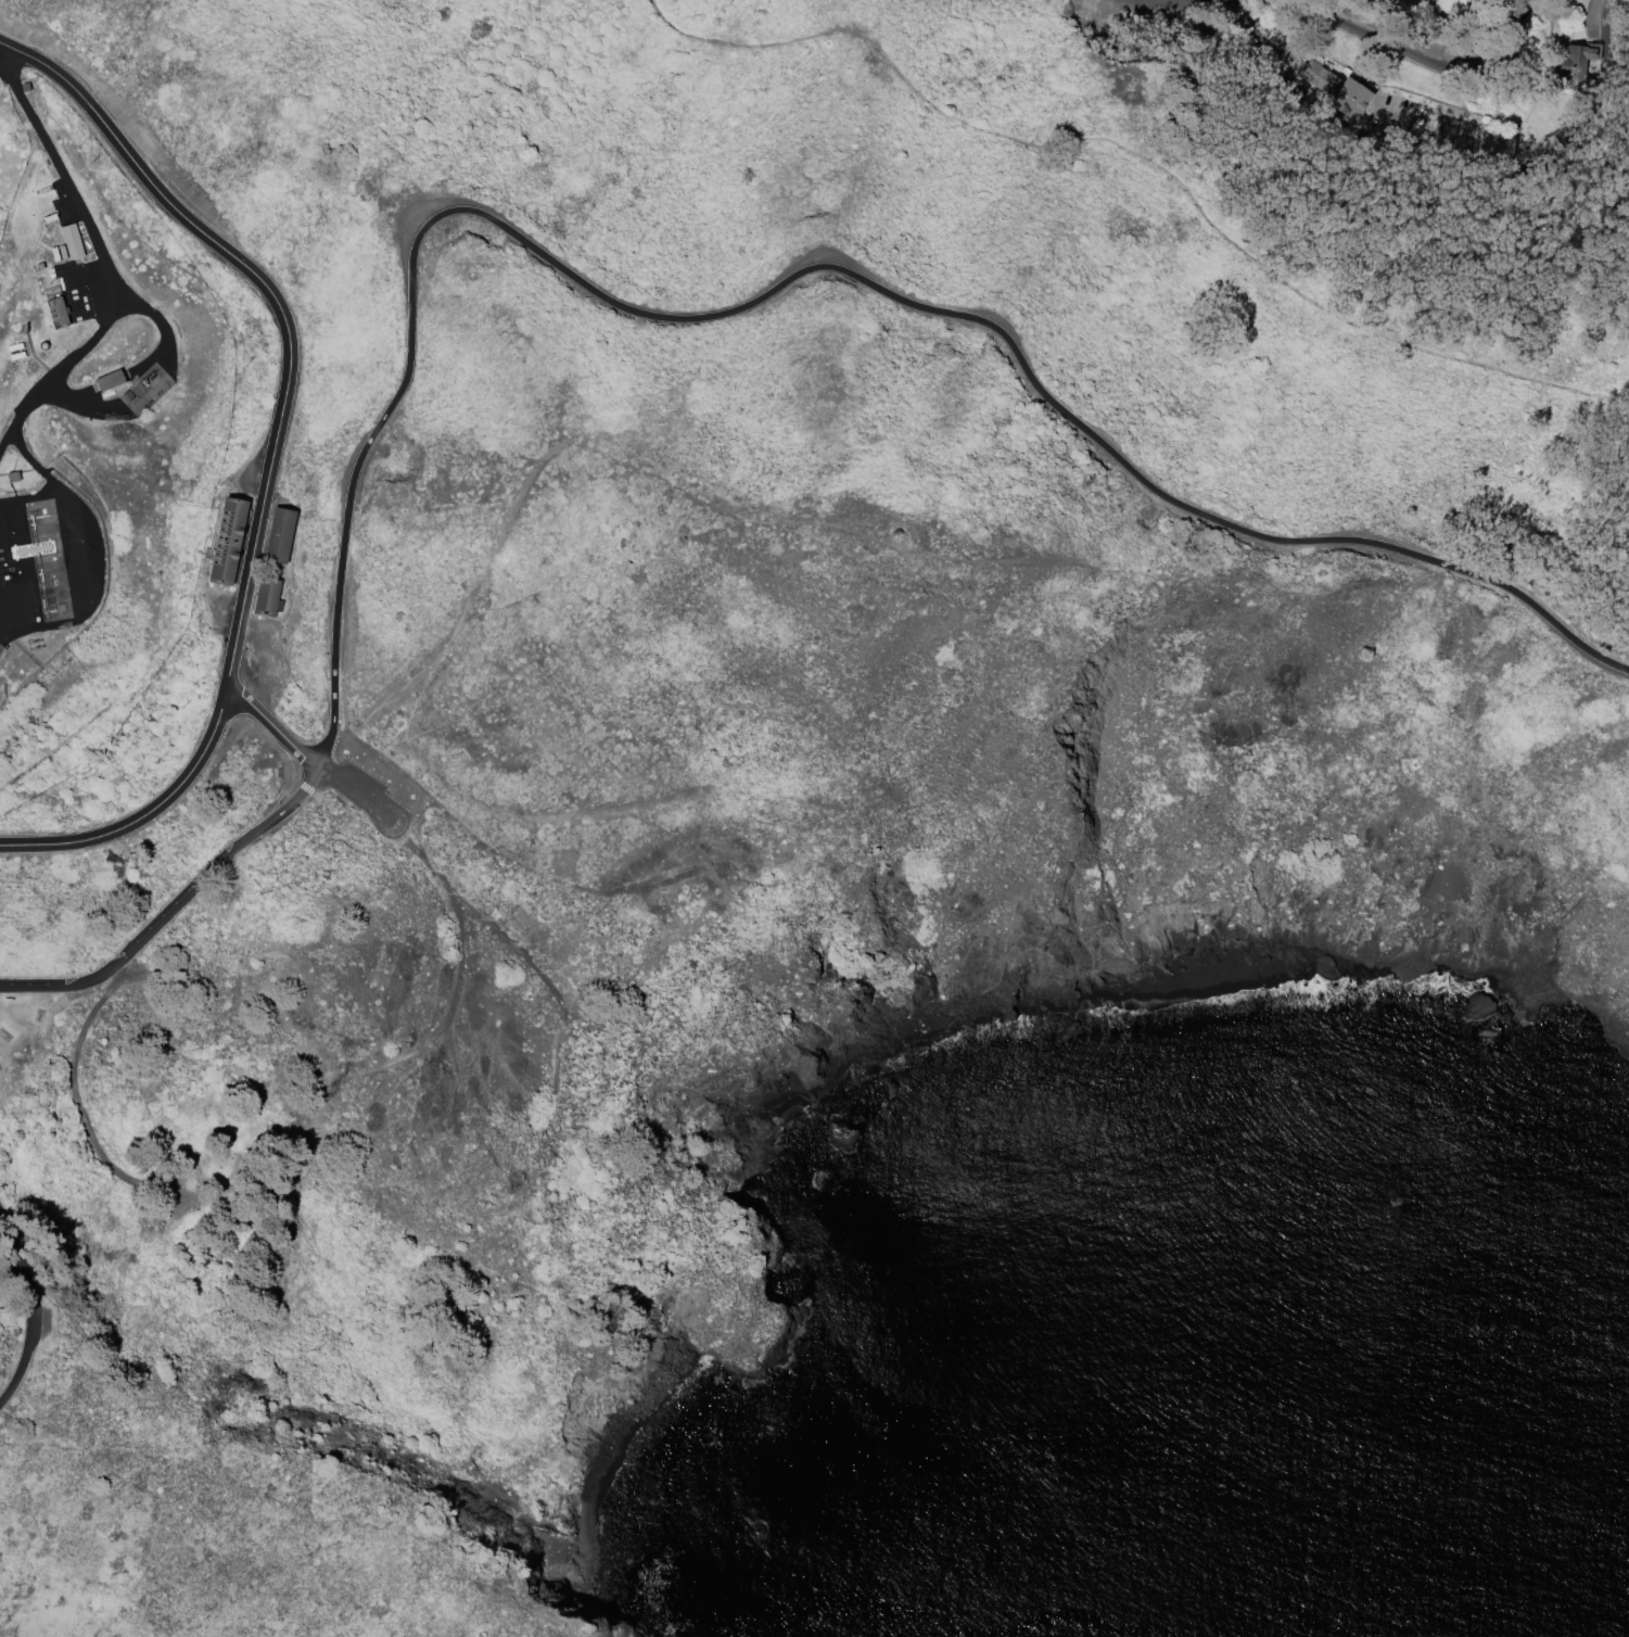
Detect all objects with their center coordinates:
road: (1427, 56)
building: (1577, 66)
building: (1333, 88)
road: (1143, 157)
road: (1607, 173)
road: (1451, 174)
building: (74, 244)
road: (102, 262)
road: (792, 283)
road: (281, 309)
building: (56, 313)
building: (43, 345)
building: (13, 346)
building: (17, 355)
building: (111, 383)
road: (149, 383)
road: (36, 468)
building: (13, 479)
road: (813, 518)
building: (282, 537)
building: (230, 542)
road: (102, 567)
building: (270, 598)
road: (272, 722)
parking lot: (374, 787)
road: (144, 818)
road: (174, 912)
road: (457, 921)
road: (549, 987)
road: (75, 1103)
road: (30, 1315)
road: (283, 1505)

